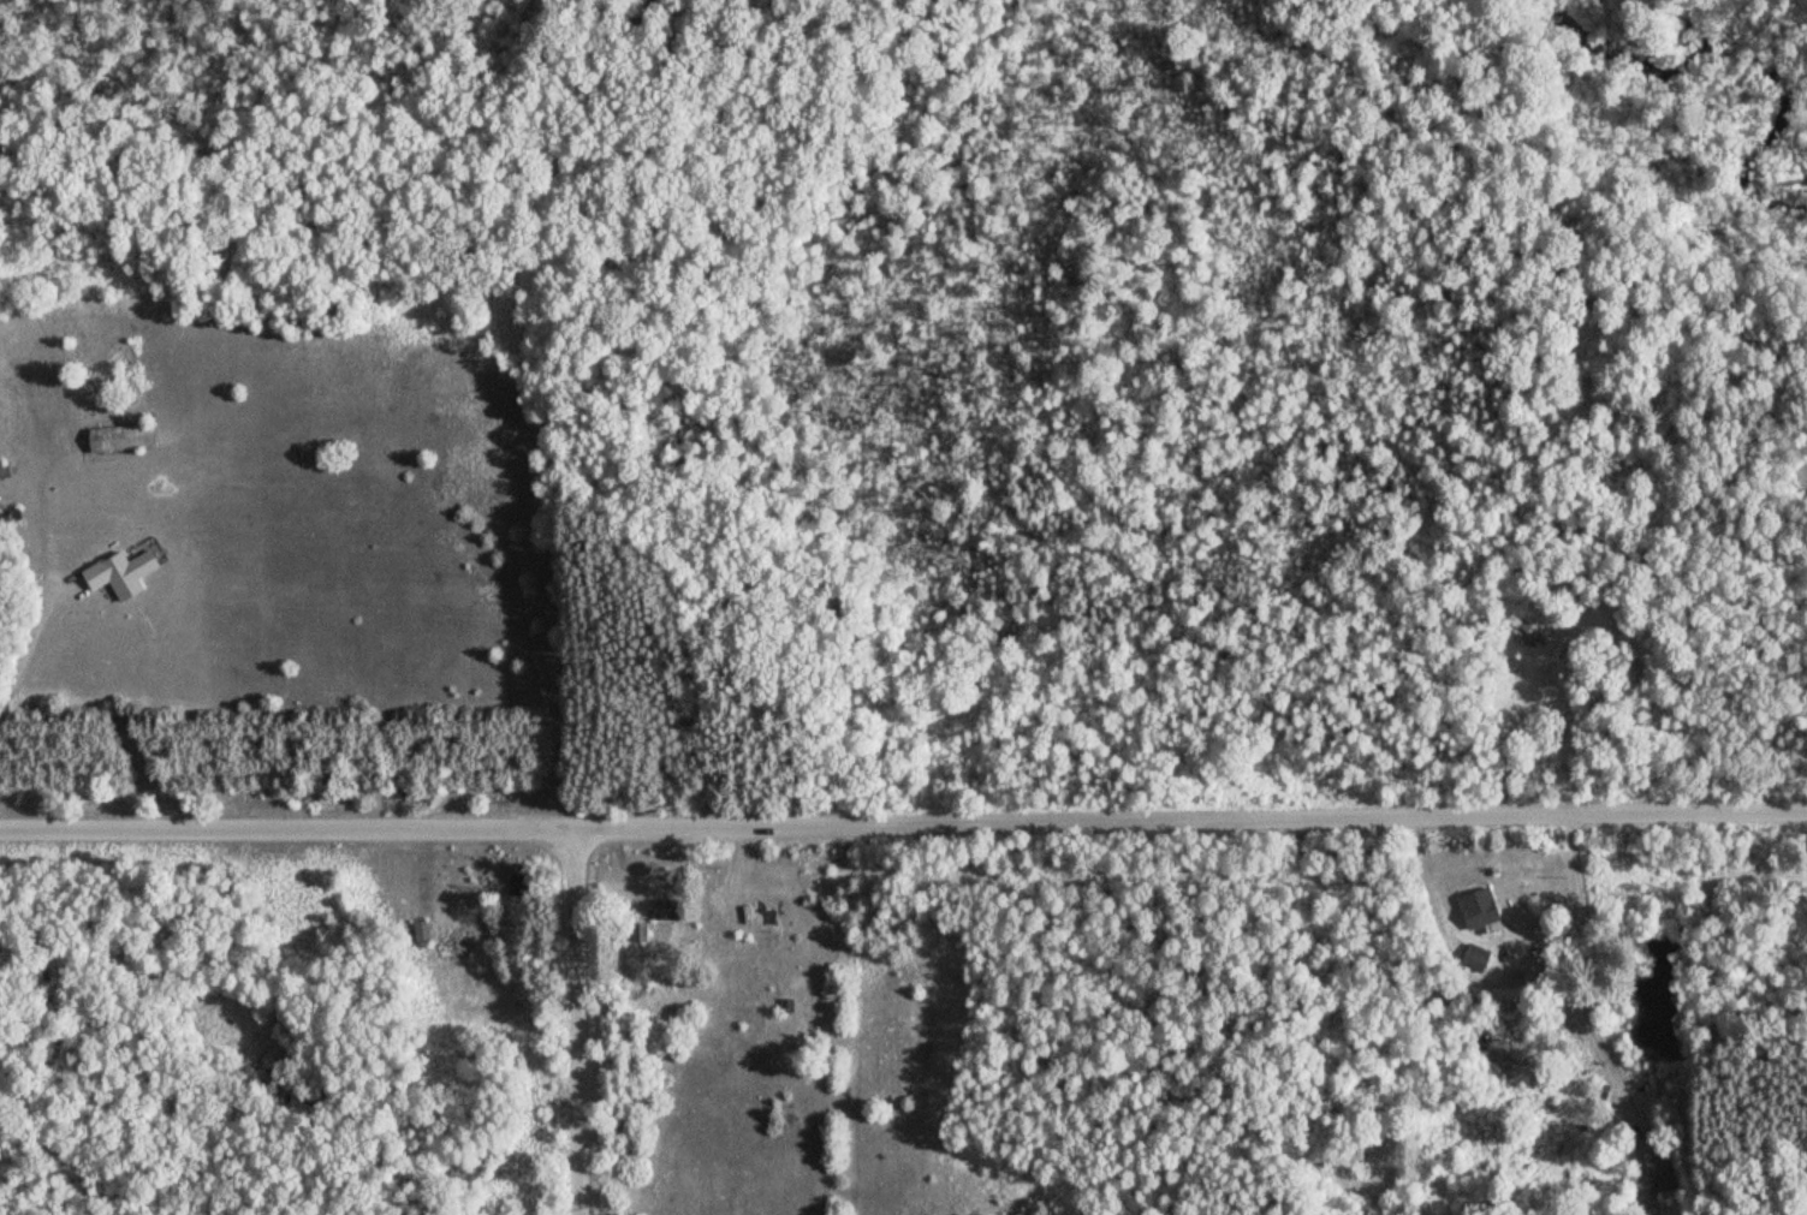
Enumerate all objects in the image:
building: (127, 437)
building: (6, 470)
building: (126, 573)
road: (903, 823)
building: (522, 883)
building: (1482, 906)
building: (668, 907)
building: (424, 930)
building: (454, 939)
building: (1478, 958)
road: (578, 1022)
building: (1654, 1162)

